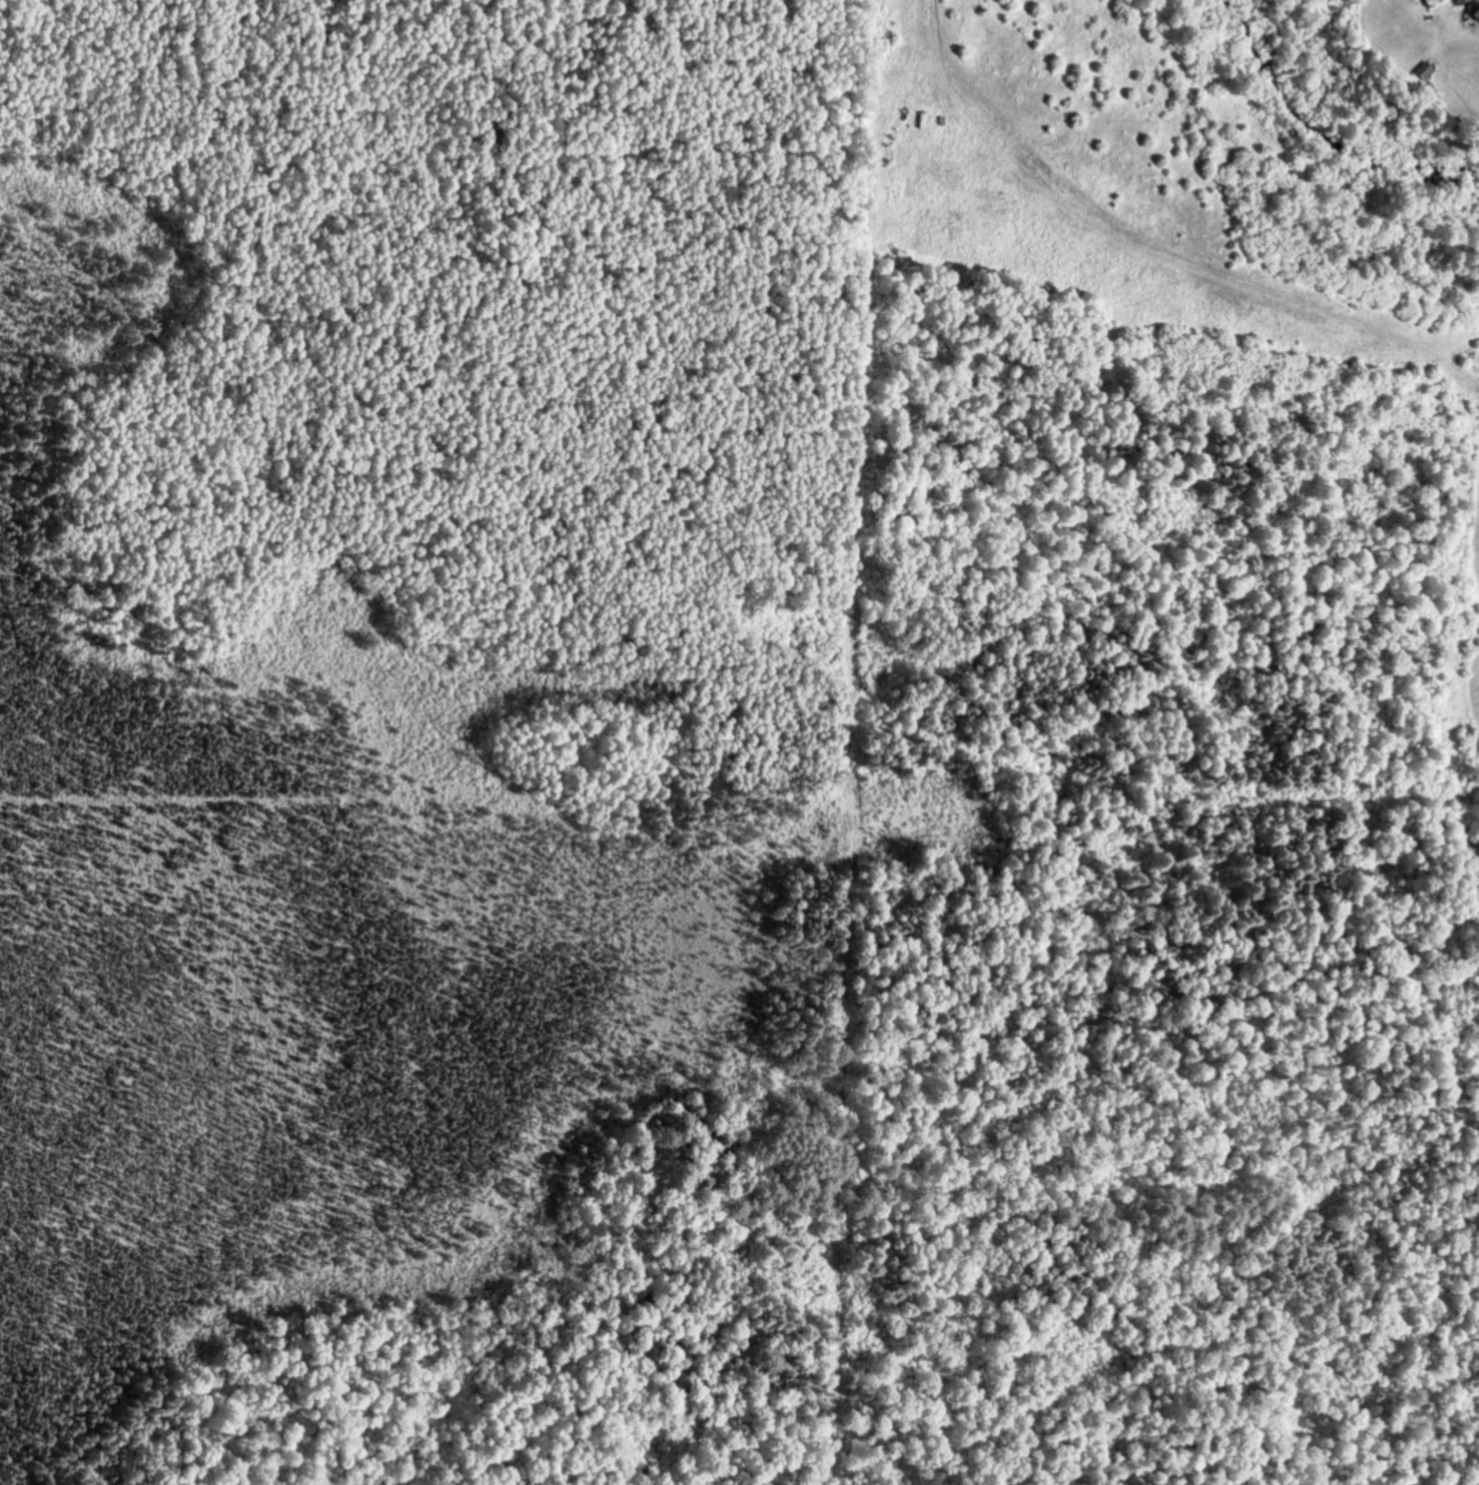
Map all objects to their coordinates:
building: (1464, 0)
building: (1429, 1)
building: (1476, 12)

